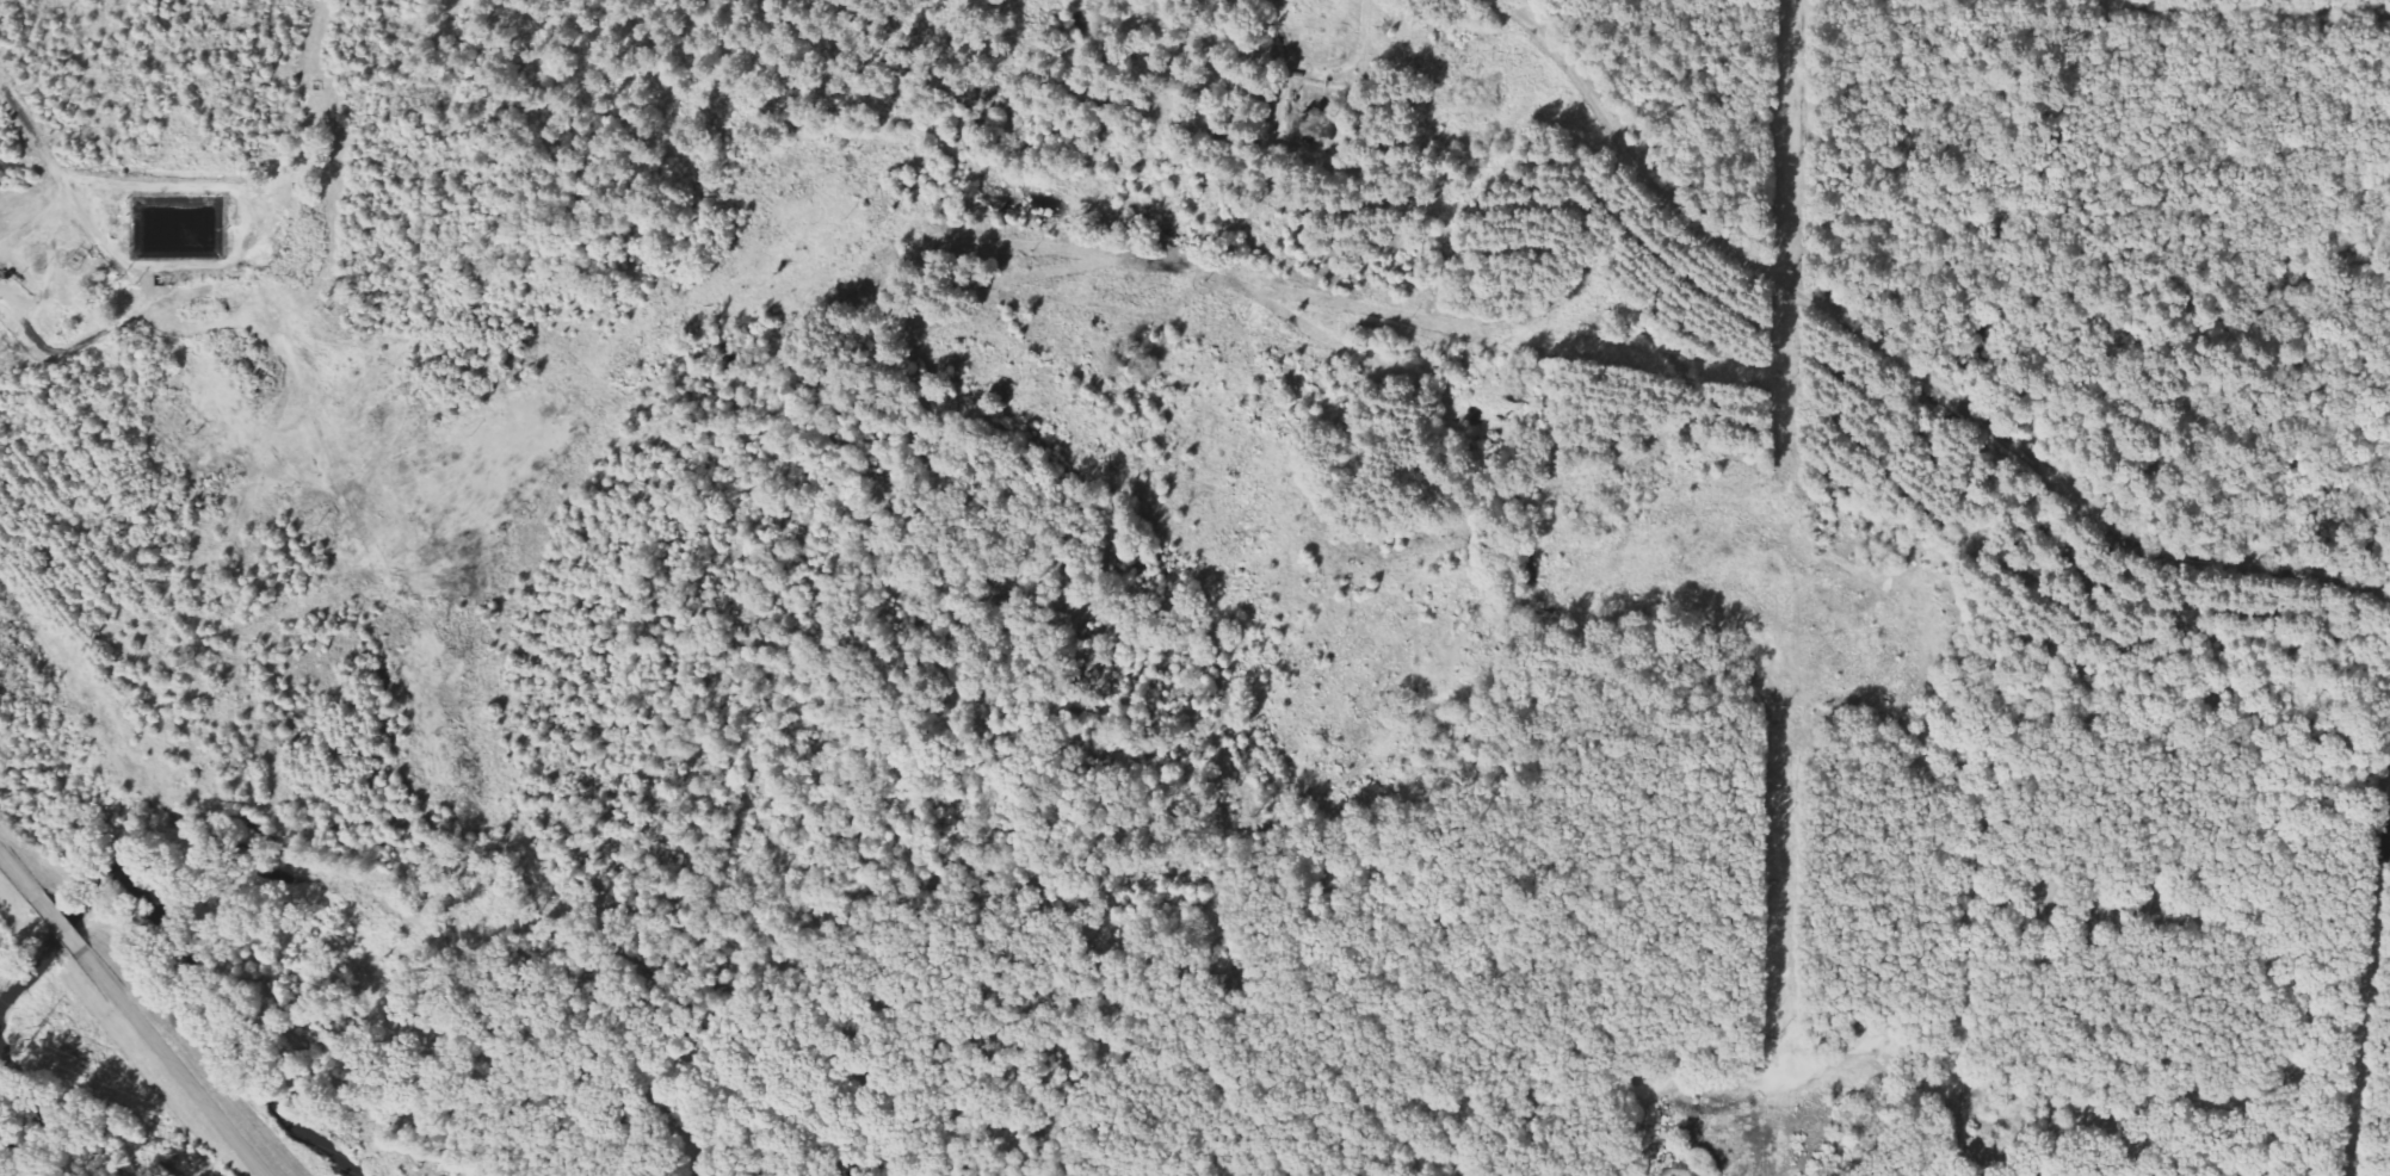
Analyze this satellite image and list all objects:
road: (148, 184)
road: (72, 190)
road: (37, 222)
road: (1903, 369)
road: (18, 877)
road: (58, 924)
power tower: (32, 1038)
road: (172, 1063)

